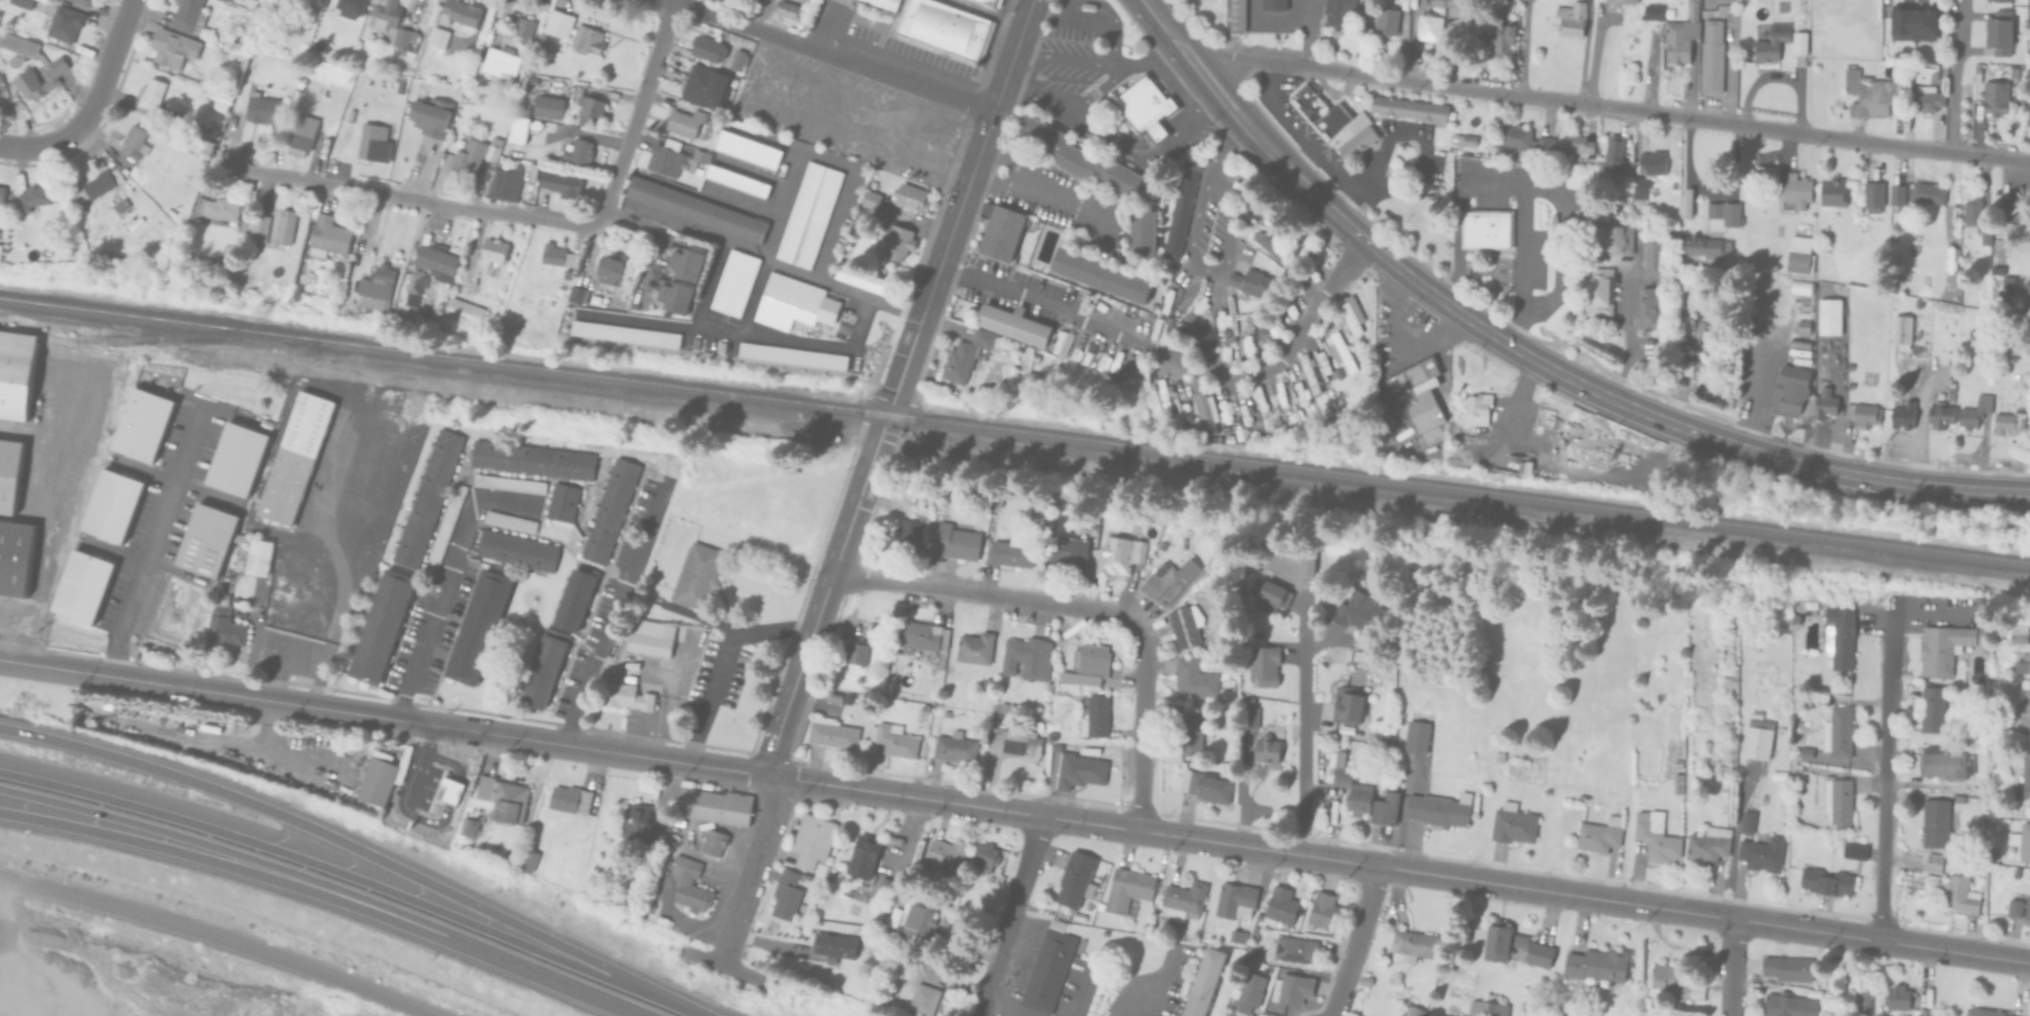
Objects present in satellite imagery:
road: (670, 1)
road: (676, 1)
building: (2002, 1)
building: (83, 2)
building: (841, 2)
building: (1272, 2)
building: (22, 3)
building: (985, 4)
building: (460, 13)
building: (1237, 13)
building: (383, 14)
building: (189, 16)
road: (1070, 16)
building: (65, 23)
building: (935, 30)
road: (1309, 34)
building: (2002, 35)
building: (434, 38)
building: (405, 41)
building: (18, 44)
road: (1112, 45)
building: (173, 48)
road: (1524, 48)
road: (1584, 52)
building: (420, 56)
road: (834, 57)
road: (1062, 58)
road: (1140, 60)
building: (398, 61)
building: (498, 61)
building: (2029, 73)
building: (2015, 74)
road: (1955, 76)
building: (25, 78)
building: (398, 82)
building: (299, 83)
road: (1228, 85)
road: (1270, 87)
building: (1, 88)
road: (1203, 92)
road: (1096, 93)
building: (151, 94)
building: (222, 98)
building: (1998, 101)
building: (2029, 101)
road: (91, 102)
road: (1198, 103)
building: (219, 106)
building: (1147, 107)
building: (1409, 107)
building: (262, 108)
road: (1620, 110)
building: (428, 114)
building: (216, 116)
road: (635, 117)
building: (1337, 122)
road: (1408, 132)
building: (168, 134)
building: (303, 134)
building: (376, 141)
building: (134, 142)
building: (472, 152)
road: (1311, 153)
road: (1132, 154)
road: (1217, 154)
road: (1001, 155)
road: (990, 178)
building: (503, 179)
road: (1490, 180)
building: (101, 183)
road: (1311, 191)
building: (1, 193)
building: (34, 196)
road: (1055, 196)
road: (408, 197)
building: (120, 205)
building: (217, 207)
road: (958, 207)
building: (1974, 213)
building: (2010, 216)
road: (1350, 225)
building: (258, 226)
building: (285, 226)
road: (705, 228)
building: (1487, 228)
building: (1988, 234)
building: (328, 235)
building: (423, 237)
road: (1458, 242)
road: (1563, 242)
road: (1522, 243)
building: (0, 248)
building: (493, 249)
building: (434, 260)
road: (1212, 267)
building: (299, 274)
building: (2010, 283)
building: (373, 286)
building: (412, 286)
road: (1421, 287)
road: (849, 291)
building: (294, 292)
building: (2027, 296)
building: (464, 312)
road: (1511, 320)
road: (1626, 333)
building: (1976, 336)
railway: (152, 339)
building: (963, 355)
road: (1178, 362)
building: (15, 377)
building: (1420, 392)
road: (1748, 393)
building: (1977, 413)
building: (2011, 426)
railway: (1014, 431)
road: (1743, 448)
building: (293, 462)
building: (9, 477)
building: (114, 511)
road: (151, 539)
building: (14, 562)
building: (700, 563)
road: (444, 581)
building: (83, 591)
road: (824, 594)
road: (990, 596)
road: (1923, 610)
road: (612, 613)
road: (339, 614)
road: (734, 629)
building: (651, 633)
building: (2020, 635)
road: (10, 638)
road: (278, 652)
building: (2024, 666)
building: (629, 692)
road: (710, 696)
building: (2024, 715)
road: (1143, 732)
road: (1303, 754)
road: (652, 756)
building: (2024, 780)
road: (1886, 783)
road: (1734, 839)
road: (350, 841)
building: (2022, 843)
road: (758, 851)
road: (1341, 862)
road: (247, 868)
road: (345, 871)
road: (337, 883)
building: (2019, 909)
road: (1014, 913)
road: (1704, 915)
road: (226, 935)
road: (1353, 942)
road: (1731, 968)
park: (142, 972)
road: (1127, 1006)
road: (694, 1010)
road: (996, 1012)
building: (1984, 1013)

